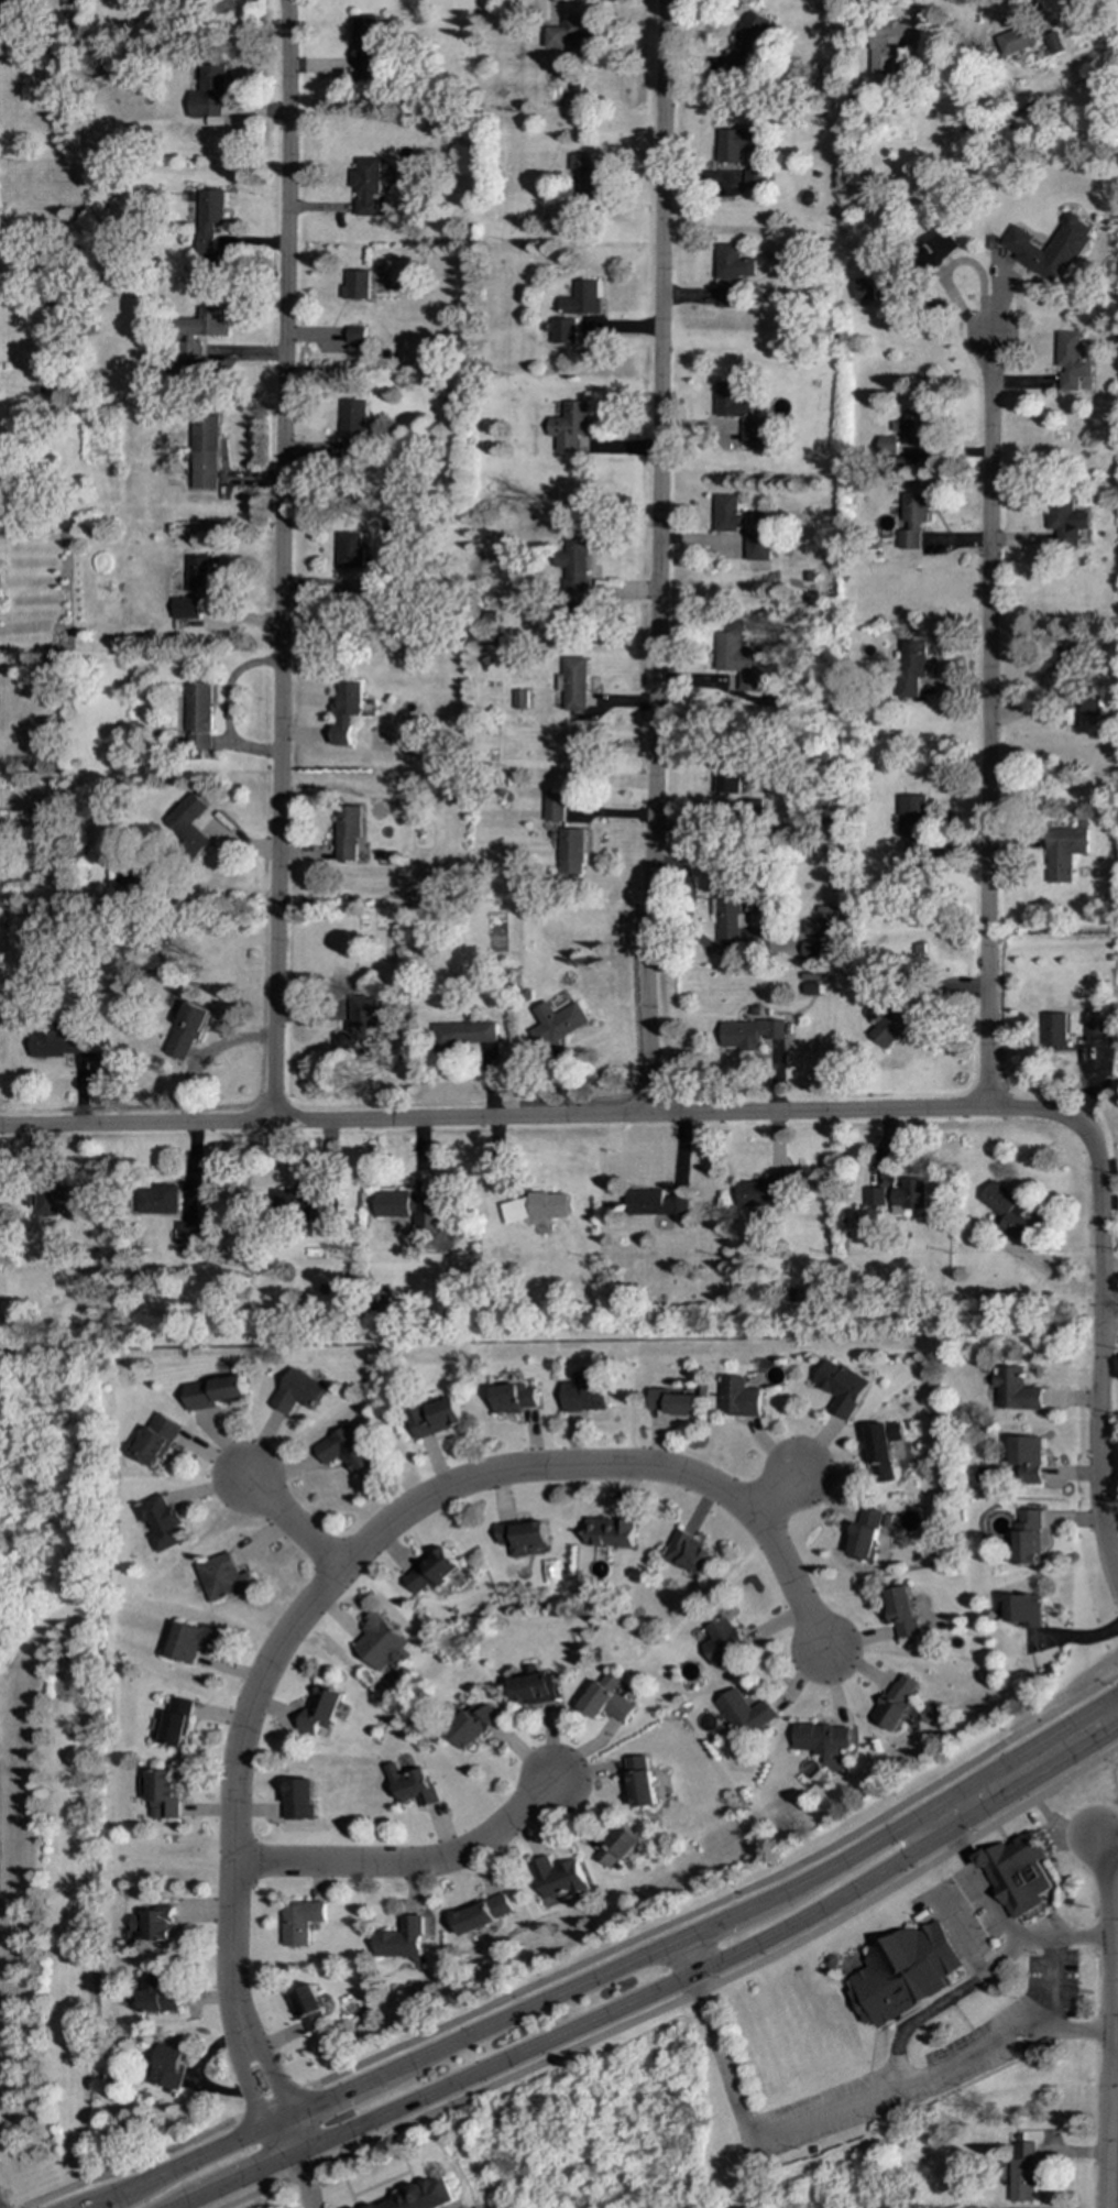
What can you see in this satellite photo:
building: (572, 32)
building: (1018, 40)
building: (745, 43)
building: (895, 43)
building: (1055, 43)
building: (363, 45)
building: (206, 96)
building: (737, 143)
building: (584, 178)
building: (755, 179)
building: (362, 186)
building: (206, 218)
building: (944, 245)
building: (1050, 249)
building: (733, 263)
road: (954, 266)
building: (353, 285)
building: (864, 288)
building: (581, 297)
building: (728, 297)
road: (922, 305)
road: (1002, 305)
building: (196, 330)
building: (562, 330)
building: (353, 335)
building: (1070, 361)
road: (1024, 385)
building: (739, 413)
building: (351, 416)
building: (568, 426)
building: (916, 427)
building: (888, 445)
building: (349, 449)
building: (202, 452)
road: (953, 455)
building: (727, 513)
building: (912, 521)
building: (1065, 523)
road: (989, 543)
building: (756, 547)
building: (349, 549)
road: (656, 557)
road: (278, 560)
building: (573, 565)
building: (198, 573)
building: (369, 587)
building: (185, 608)
building: (736, 657)
building: (910, 666)
building: (1064, 666)
building: (573, 682)
road: (952, 691)
building: (518, 699)
building: (1088, 703)
road: (1032, 707)
building: (346, 711)
building: (198, 714)
road: (987, 721)
building: (726, 778)
building: (553, 807)
building: (187, 822)
building: (912, 826)
building: (346, 831)
road: (986, 846)
building: (571, 852)
building: (1063, 852)
building: (124, 875)
building: (727, 911)
building: (814, 927)
building: (813, 948)
building: (810, 988)
road: (939, 992)
building: (557, 1023)
building: (891, 1025)
building: (358, 1027)
building: (1054, 1029)
building: (185, 1031)
building: (748, 1032)
building: (1096, 1032)
building: (461, 1035)
building: (56, 1042)
road: (205, 1057)
road: (775, 1113)
building: (759, 1193)
building: (875, 1195)
building: (909, 1195)
building: (157, 1200)
building: (57, 1201)
building: (302, 1201)
building: (654, 1203)
building: (412, 1207)
building: (537, 1207)
building: (1007, 1210)
building: (186, 1233)
building: (842, 1388)
building: (1017, 1389)
building: (212, 1391)
building: (296, 1391)
building: (583, 1397)
building: (739, 1397)
building: (514, 1398)
building: (672, 1402)
building: (434, 1418)
building: (154, 1440)
building: (344, 1450)
building: (883, 1450)
building: (1029, 1457)
road: (772, 1494)
building: (158, 1522)
road: (287, 1524)
road: (379, 1530)
building: (607, 1532)
building: (865, 1534)
building: (520, 1537)
building: (1029, 1538)
building: (687, 1553)
building: (430, 1571)
building: (220, 1577)
building: (1024, 1610)
building: (902, 1613)
building: (190, 1641)
building: (376, 1641)
building: (721, 1641)
building: (531, 1690)
building: (605, 1699)
building: (895, 1702)
building: (317, 1709)
building: (743, 1713)
building: (175, 1721)
building: (470, 1725)
building: (818, 1738)
road: (1098, 1759)
road: (1032, 1764)
building: (636, 1781)
building: (410, 1785)
building: (160, 1793)
building: (297, 1800)
road: (1060, 1825)
road: (1107, 1841)
building: (613, 1845)
road: (403, 1863)
building: (1017, 1873)
building: (553, 1877)
road: (1114, 1911)
building: (478, 1914)
building: (298, 1922)
building: (155, 1923)
building: (395, 1938)
road: (1030, 1942)
road: (1049, 1953)
road: (1114, 1955)
road: (993, 1959)
road: (579, 1964)
building: (900, 1974)
road: (1114, 1982)
building: (157, 1994)
building: (309, 2008)
road: (659, 2009)
road: (517, 2012)
road: (1109, 2021)
road: (571, 2030)
road: (1112, 2052)
building: (171, 2066)
road: (278, 2089)
road: (252, 2100)
road: (833, 2107)
building: (1023, 2172)
road: (303, 2180)
building: (420, 2195)

